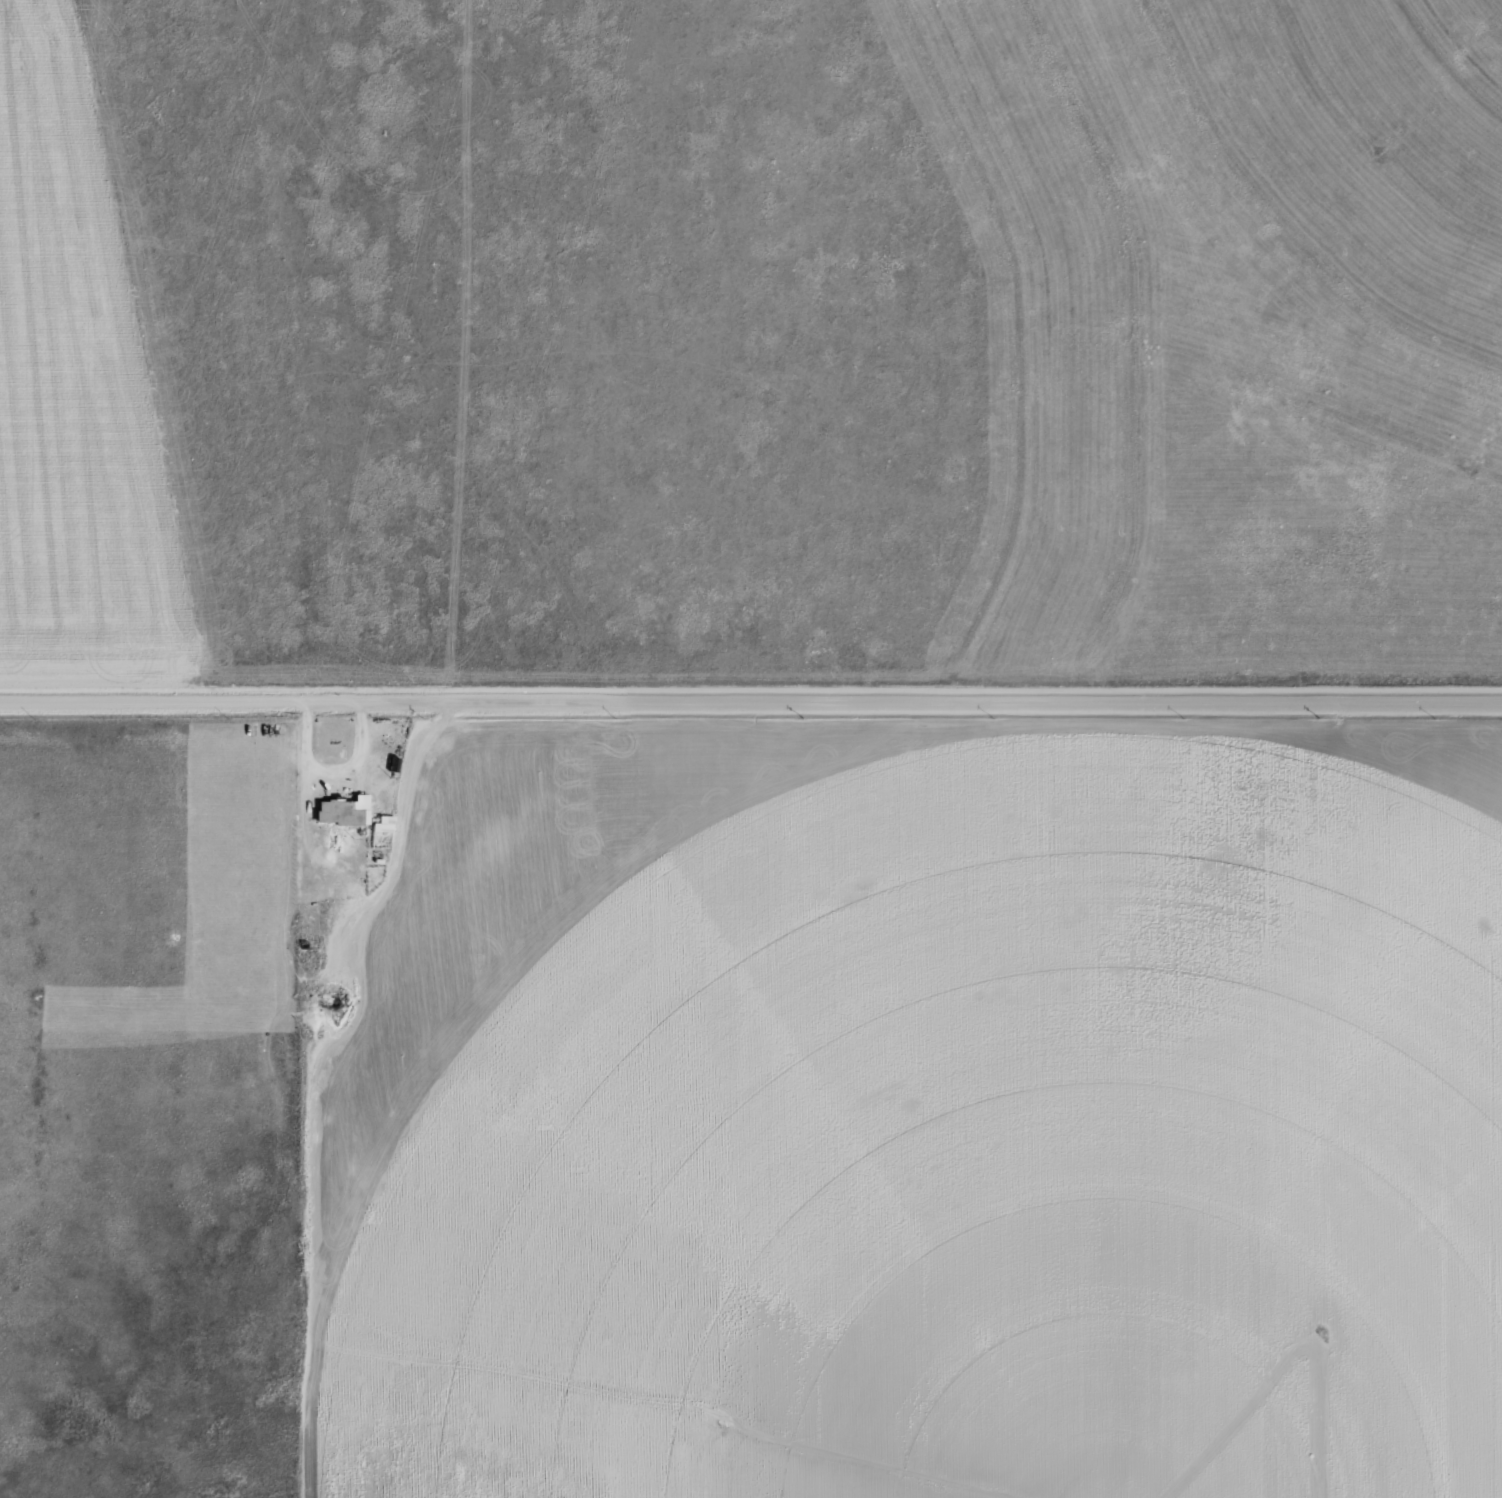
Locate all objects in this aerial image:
road: (750, 719)
building: (344, 812)
building: (385, 824)
road: (1320, 1037)

